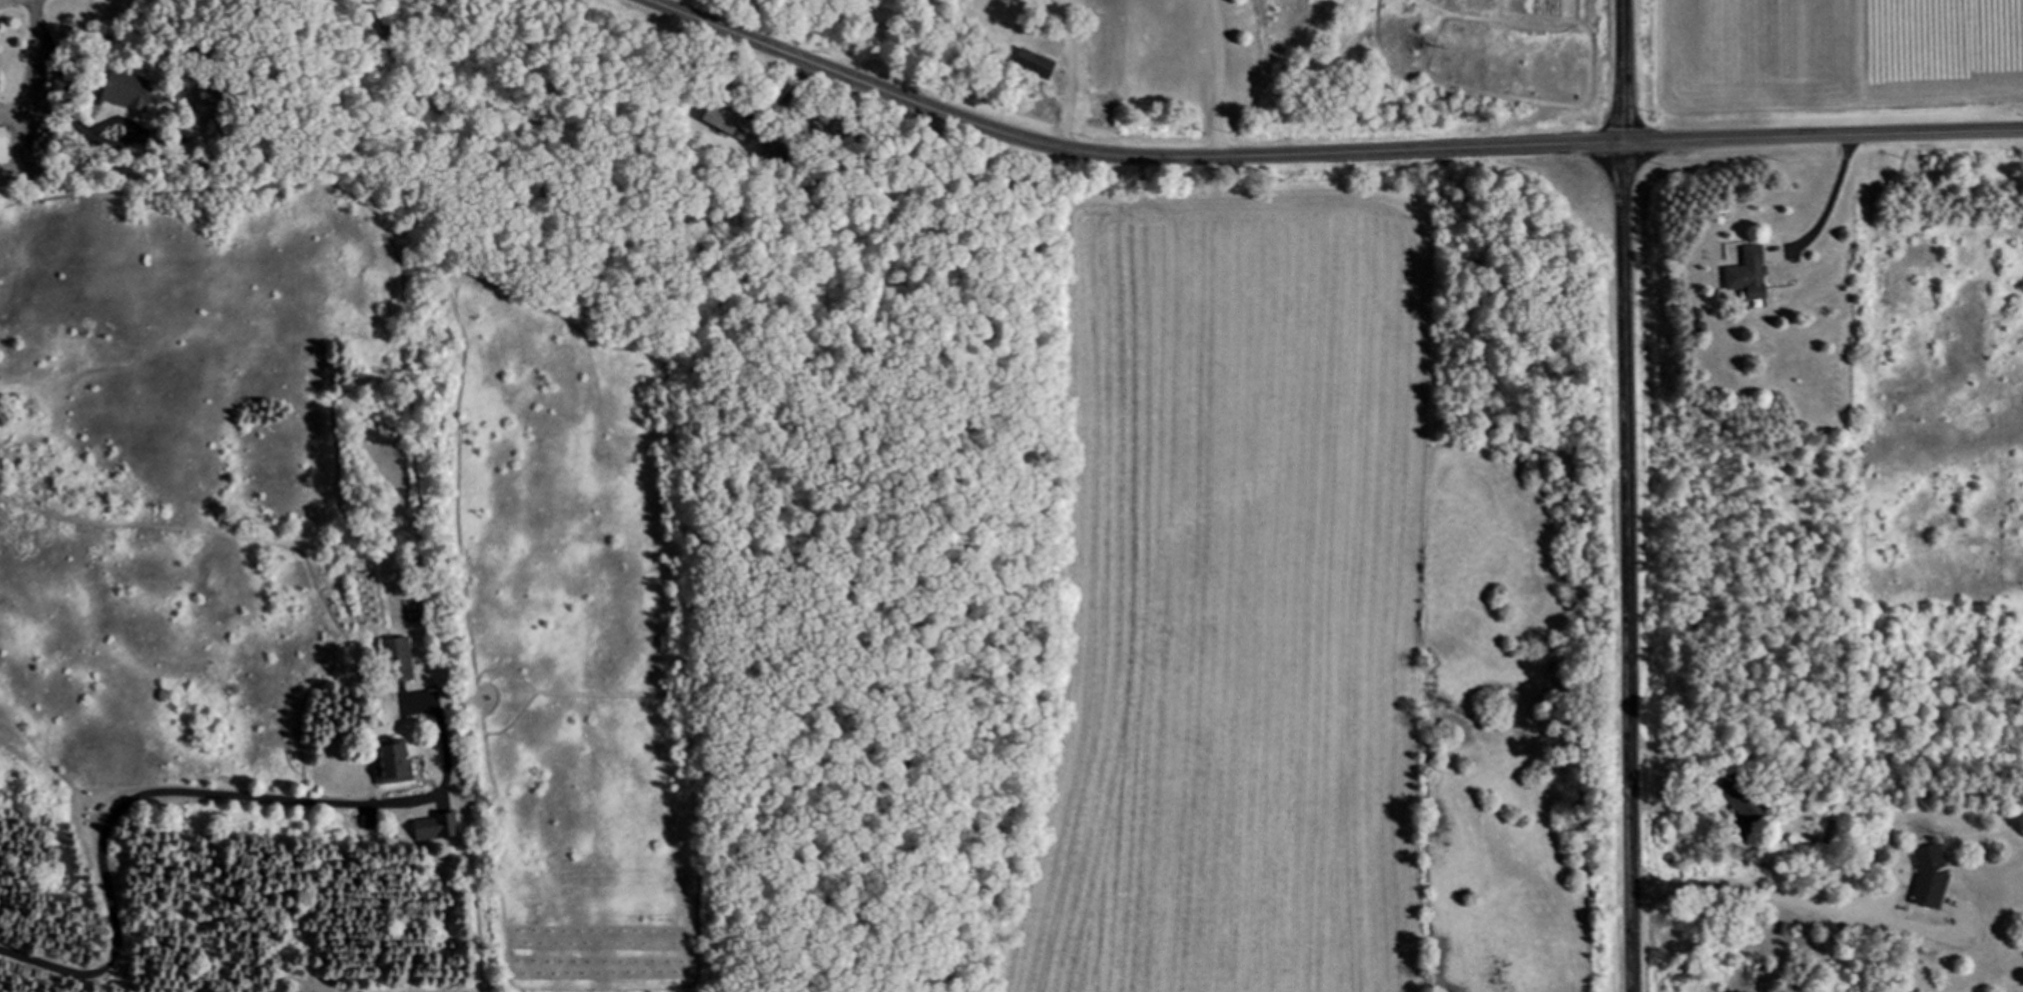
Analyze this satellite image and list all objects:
building: (1040, 65)
road: (1069, 73)
road: (1217, 78)
building: (137, 91)
building: (714, 124)
building: (5, 146)
road: (1322, 153)
building: (1733, 273)
road: (1623, 496)
building: (402, 661)
building: (396, 763)
building: (1739, 803)
building: (438, 827)
building: (1933, 876)

